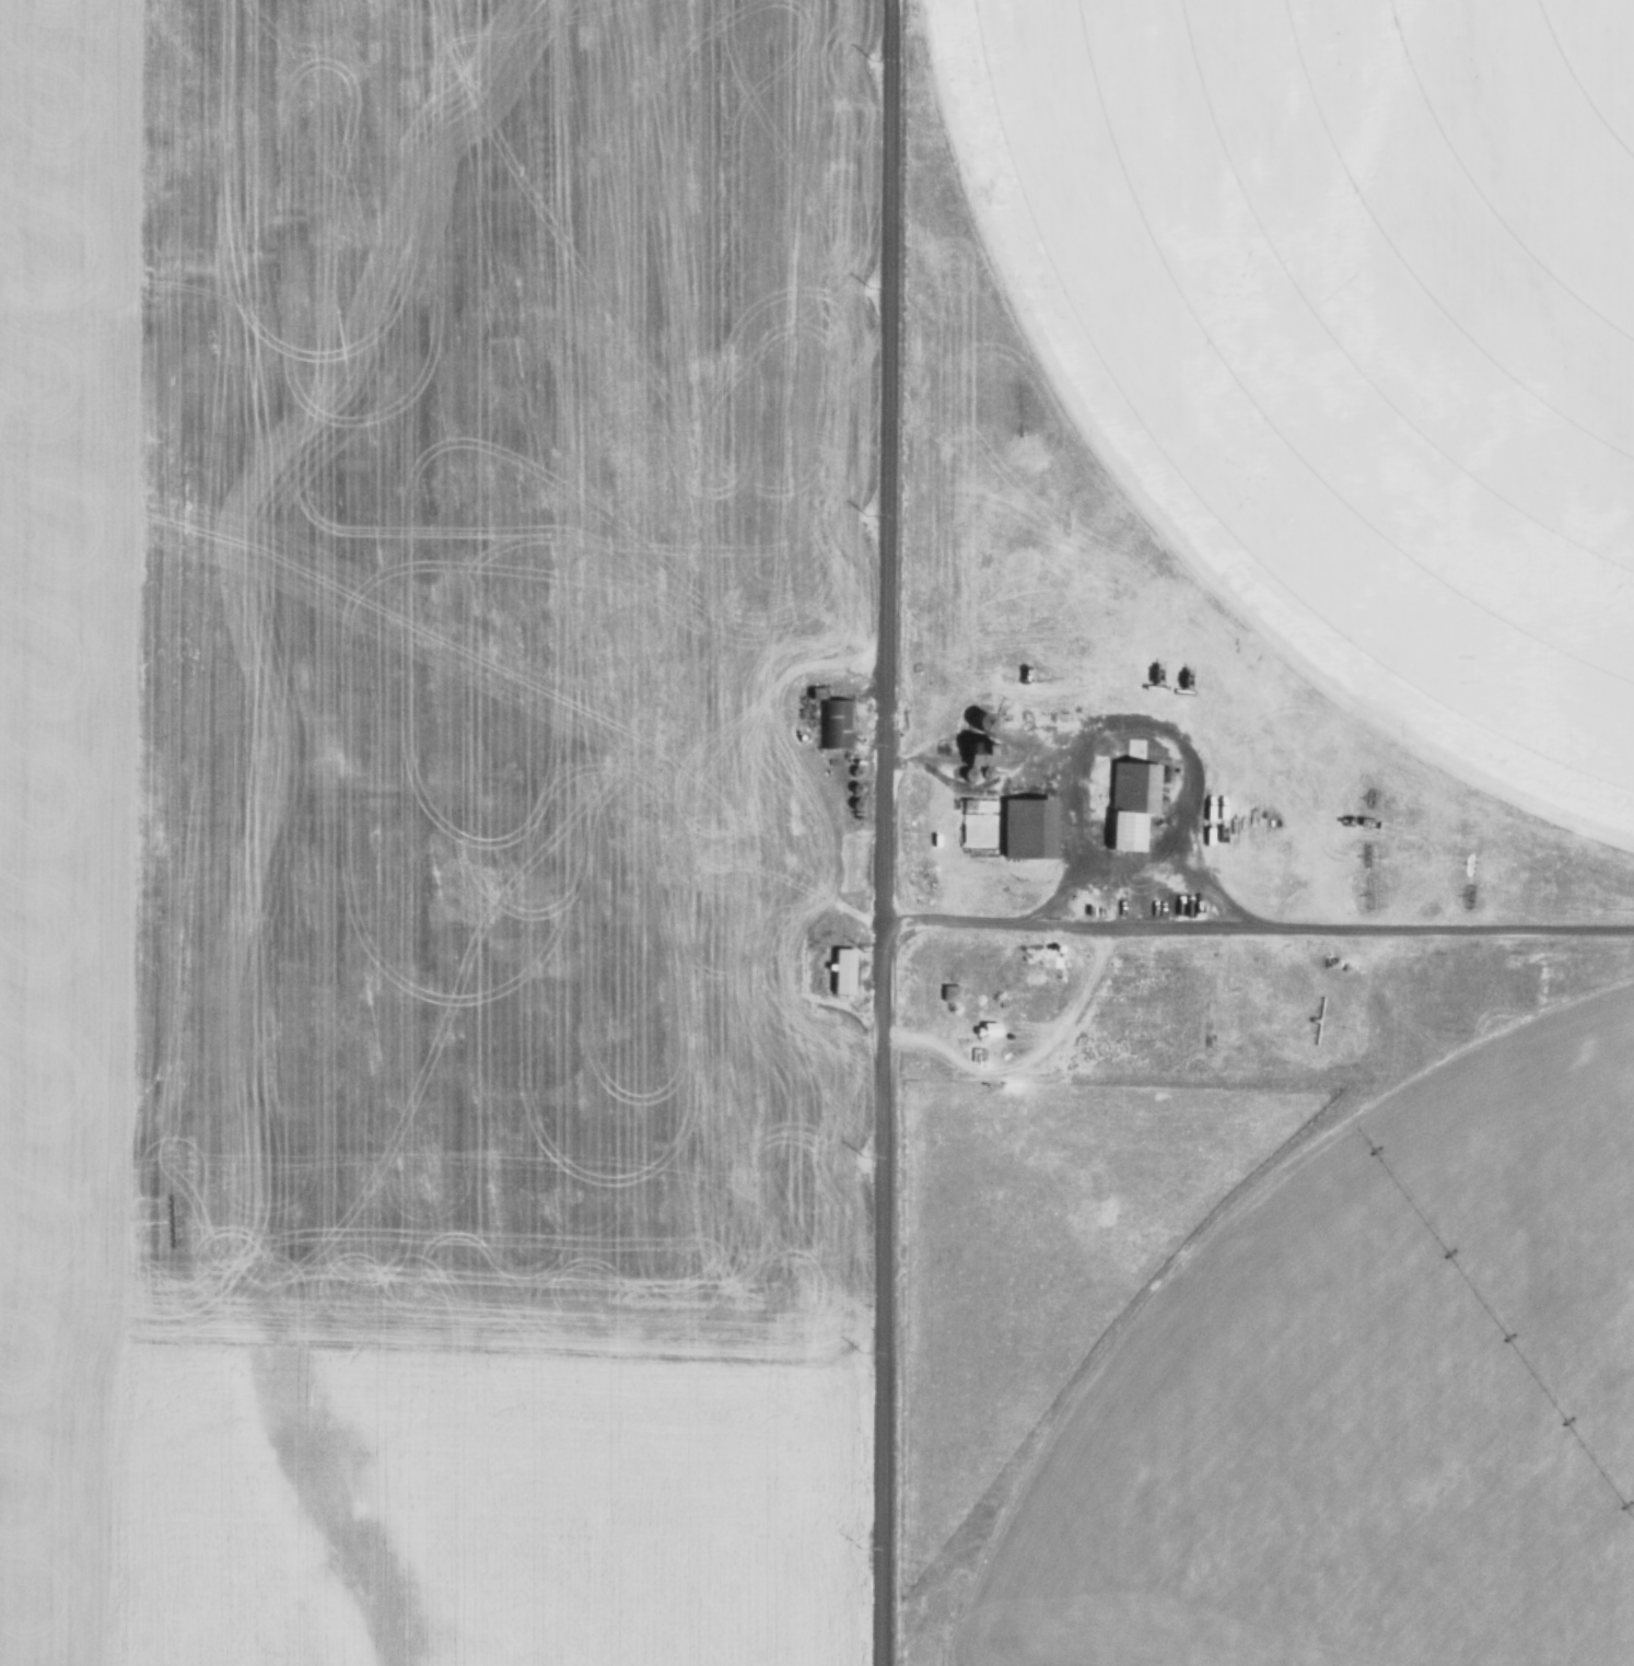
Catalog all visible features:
building: (1030, 826)
road: (887, 832)
building: (844, 969)
building: (952, 992)
building: (990, 1027)

